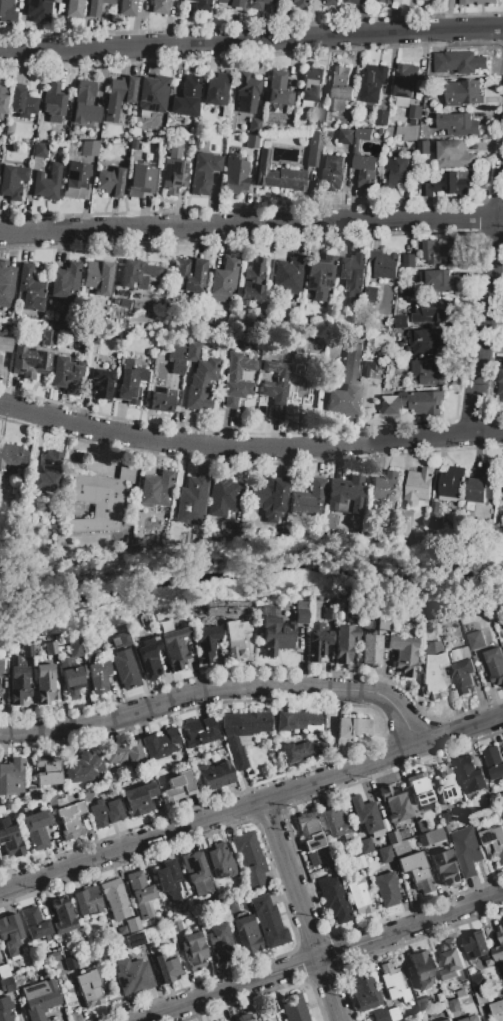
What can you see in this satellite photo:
building: (428, 0)
building: (332, 2)
building: (352, 2)
building: (384, 2)
building: (478, 2)
building: (231, 3)
building: (258, 3)
building: (450, 3)
building: (300, 4)
building: (201, 5)
building: (395, 5)
building: (160, 6)
building: (99, 7)
building: (127, 7)
building: (73, 8)
building: (38, 10)
building: (7, 11)
road: (251, 39)
building: (459, 62)
building: (405, 84)
building: (374, 85)
building: (311, 86)
building: (217, 88)
building: (278, 88)
building: (341, 90)
building: (246, 92)
building: (463, 94)
building: (152, 95)
building: (118, 96)
building: (186, 96)
building: (52, 102)
building: (22, 103)
building: (85, 103)
building: (2, 104)
building: (225, 110)
building: (415, 113)
building: (319, 115)
building: (328, 116)
building: (382, 117)
building: (254, 125)
building: (458, 125)
building: (9, 128)
building: (380, 131)
building: (390, 132)
building: (107, 133)
building: (407, 133)
building: (346, 137)
building: (200, 138)
building: (360, 138)
building: (190, 139)
building: (252, 141)
building: (78, 143)
building: (133, 143)
building: (100, 146)
building: (89, 148)
building: (423, 148)
building: (40, 149)
building: (314, 149)
building: (454, 155)
building: (366, 170)
building: (174, 171)
building: (204, 171)
building: (396, 171)
building: (278, 172)
building: (332, 172)
building: (235, 174)
building: (75, 180)
building: (141, 180)
building: (12, 181)
building: (110, 181)
building: (47, 182)
building: (447, 185)
road: (251, 225)
building: (440, 251)
building: (409, 261)
building: (384, 264)
building: (138, 274)
building: (353, 274)
building: (187, 275)
building: (287, 275)
building: (319, 275)
building: (98, 276)
building: (223, 277)
building: (65, 281)
building: (252, 281)
building: (439, 282)
building: (6, 285)
building: (30, 288)
building: (408, 291)
building: (371, 293)
building: (124, 302)
road: (487, 306)
building: (433, 314)
building: (61, 315)
building: (401, 321)
building: (62, 326)
building: (165, 327)
building: (48, 334)
building: (118, 335)
building: (94, 338)
building: (429, 341)
building: (295, 343)
building: (4, 344)
building: (155, 356)
building: (176, 358)
building: (30, 362)
building: (63, 372)
building: (428, 373)
building: (199, 376)
building: (237, 379)
building: (129, 380)
building: (101, 383)
building: (302, 384)
building: (346, 384)
building: (275, 386)
building: (502, 393)
building: (162, 400)
building: (413, 403)
road: (249, 449)
building: (12, 455)
building: (45, 474)
building: (451, 484)
building: (483, 485)
building: (502, 486)
building: (385, 487)
building: (419, 488)
building: (155, 489)
building: (102, 495)
building: (345, 495)
building: (222, 496)
building: (269, 498)
building: (308, 499)
building: (191, 500)
building: (435, 518)
building: (328, 522)
building: (347, 522)
building: (402, 527)
building: (231, 529)
building: (418, 536)
building: (137, 541)
building: (338, 602)
building: (328, 613)
building: (352, 614)
building: (300, 619)
building: (383, 623)
building: (290, 627)
building: (234, 637)
building: (273, 638)
building: (120, 639)
building: (317, 640)
building: (476, 640)
building: (206, 642)
building: (344, 642)
building: (175, 647)
building: (369, 647)
building: (49, 648)
building: (26, 650)
building: (404, 654)
building: (465, 655)
building: (149, 656)
building: (454, 657)
building: (495, 665)
building: (3, 666)
building: (432, 668)
building: (125, 669)
building: (97, 672)
building: (463, 677)
building: (70, 678)
building: (18, 680)
building: (45, 683)
road: (219, 689)
building: (295, 720)
building: (352, 726)
building: (199, 731)
building: (241, 732)
building: (159, 743)
building: (302, 750)
building: (125, 753)
building: (494, 762)
building: (82, 767)
building: (46, 769)
building: (215, 775)
building: (470, 775)
building: (11, 777)
building: (448, 784)
building: (179, 786)
building: (418, 788)
building: (33, 794)
building: (87, 795)
building: (139, 798)
building: (51, 800)
road: (251, 802)
building: (394, 804)
building: (105, 811)
building: (502, 812)
building: (365, 814)
building: (455, 814)
building: (446, 817)
building: (71, 818)
building: (335, 822)
building: (420, 825)
building: (36, 829)
building: (309, 830)
building: (402, 833)
building: (435, 835)
building: (392, 837)
building: (10, 838)
building: (423, 839)
building: (493, 843)
building: (366, 844)
building: (399, 847)
building: (466, 851)
building: (385, 853)
building: (312, 858)
building: (249, 859)
building: (220, 861)
building: (360, 861)
building: (192, 866)
building: (445, 867)
building: (416, 870)
building: (168, 879)
building: (202, 886)
building: (386, 888)
building: (140, 893)
building: (358, 895)
building: (114, 898)
building: (333, 898)
building: (87, 901)
building: (228, 907)
road: (299, 910)
building: (63, 915)
building: (268, 921)
building: (34, 923)
building: (133, 924)
building: (175, 925)
building: (120, 931)
building: (10, 933)
building: (247, 934)
building: (220, 937)
building: (134, 939)
building: (501, 940)
building: (476, 946)
building: (194, 950)
building: (53, 956)
road: (317, 957)
building: (451, 961)
building: (70, 962)
building: (490, 963)
building: (168, 966)
building: (422, 969)
building: (4, 971)
building: (471, 971)
building: (132, 975)
building: (476, 977)
building: (6, 983)
building: (393, 983)
building: (479, 985)
building: (89, 988)
building: (364, 992)
building: (461, 993)
building: (40, 998)
building: (482, 998)
building: (423, 1003)
building: (454, 1006)
building: (293, 1008)
building: (6, 1009)
building: (497, 1010)
building: (393, 1013)
building: (380, 1015)
building: (244, 1017)
building: (472, 1019)
building: (450, 1020)

